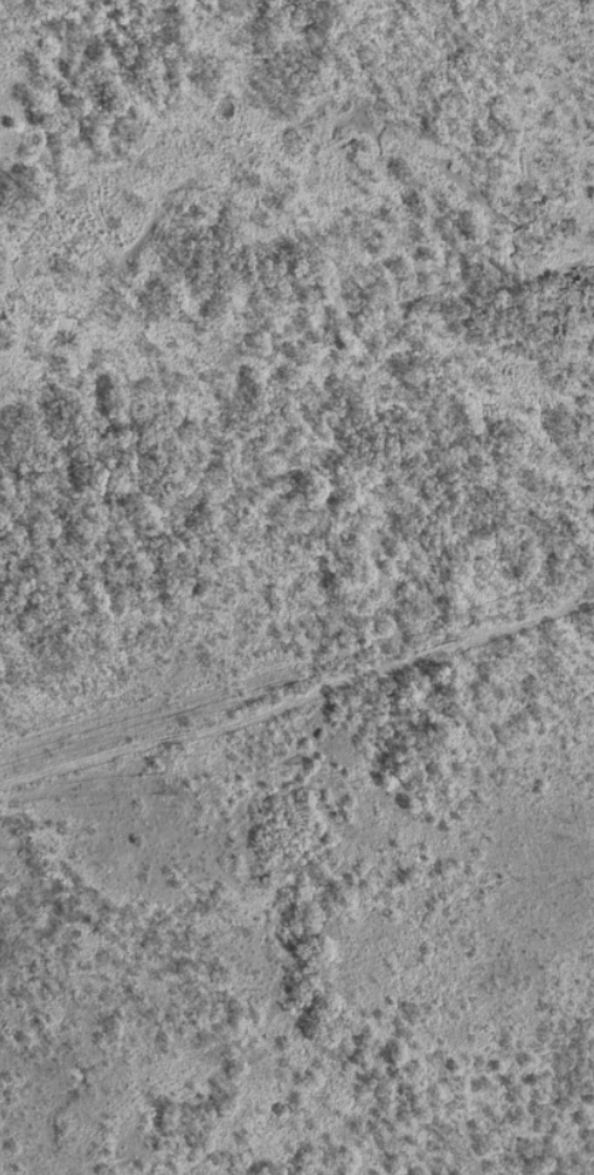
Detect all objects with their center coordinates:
road: (296, 715)

